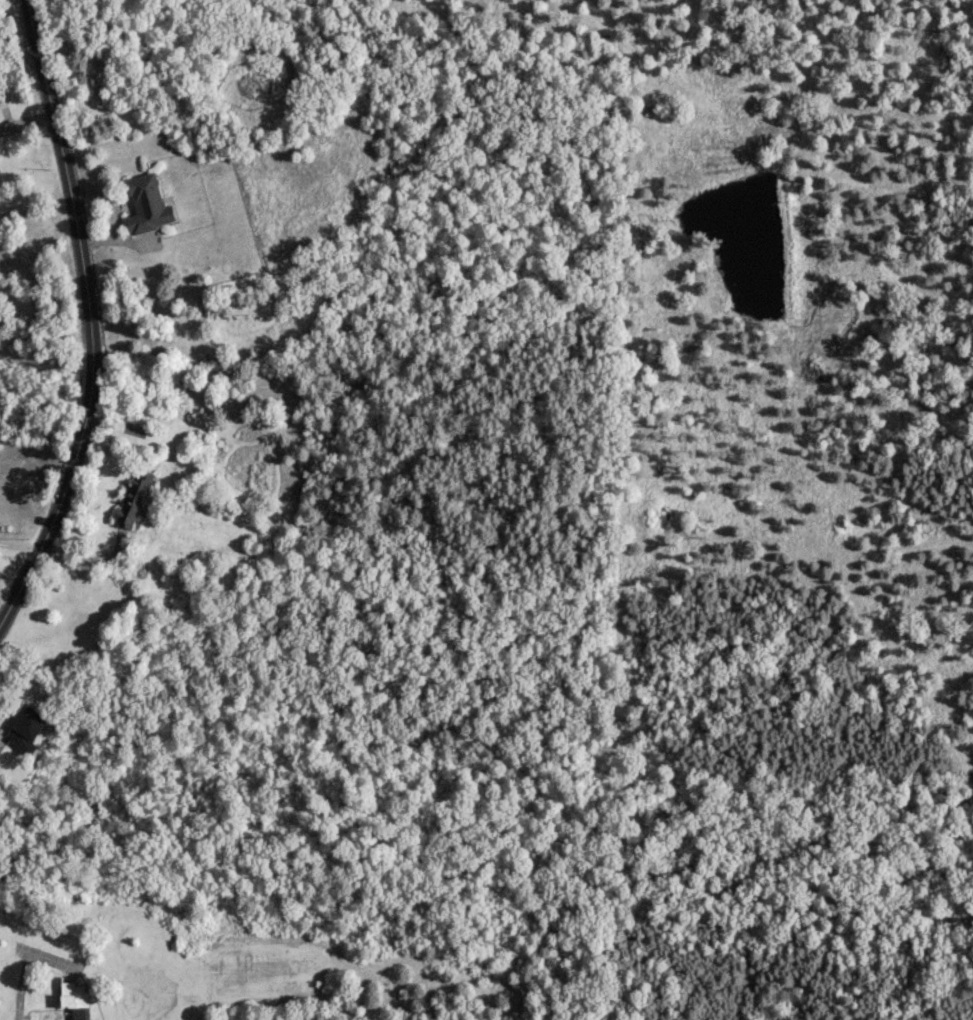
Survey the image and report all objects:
building: (145, 202)
road: (88, 315)
building: (132, 496)
road: (17, 546)
road: (5, 596)
building: (24, 727)
road: (22, 971)
building: (72, 997)

